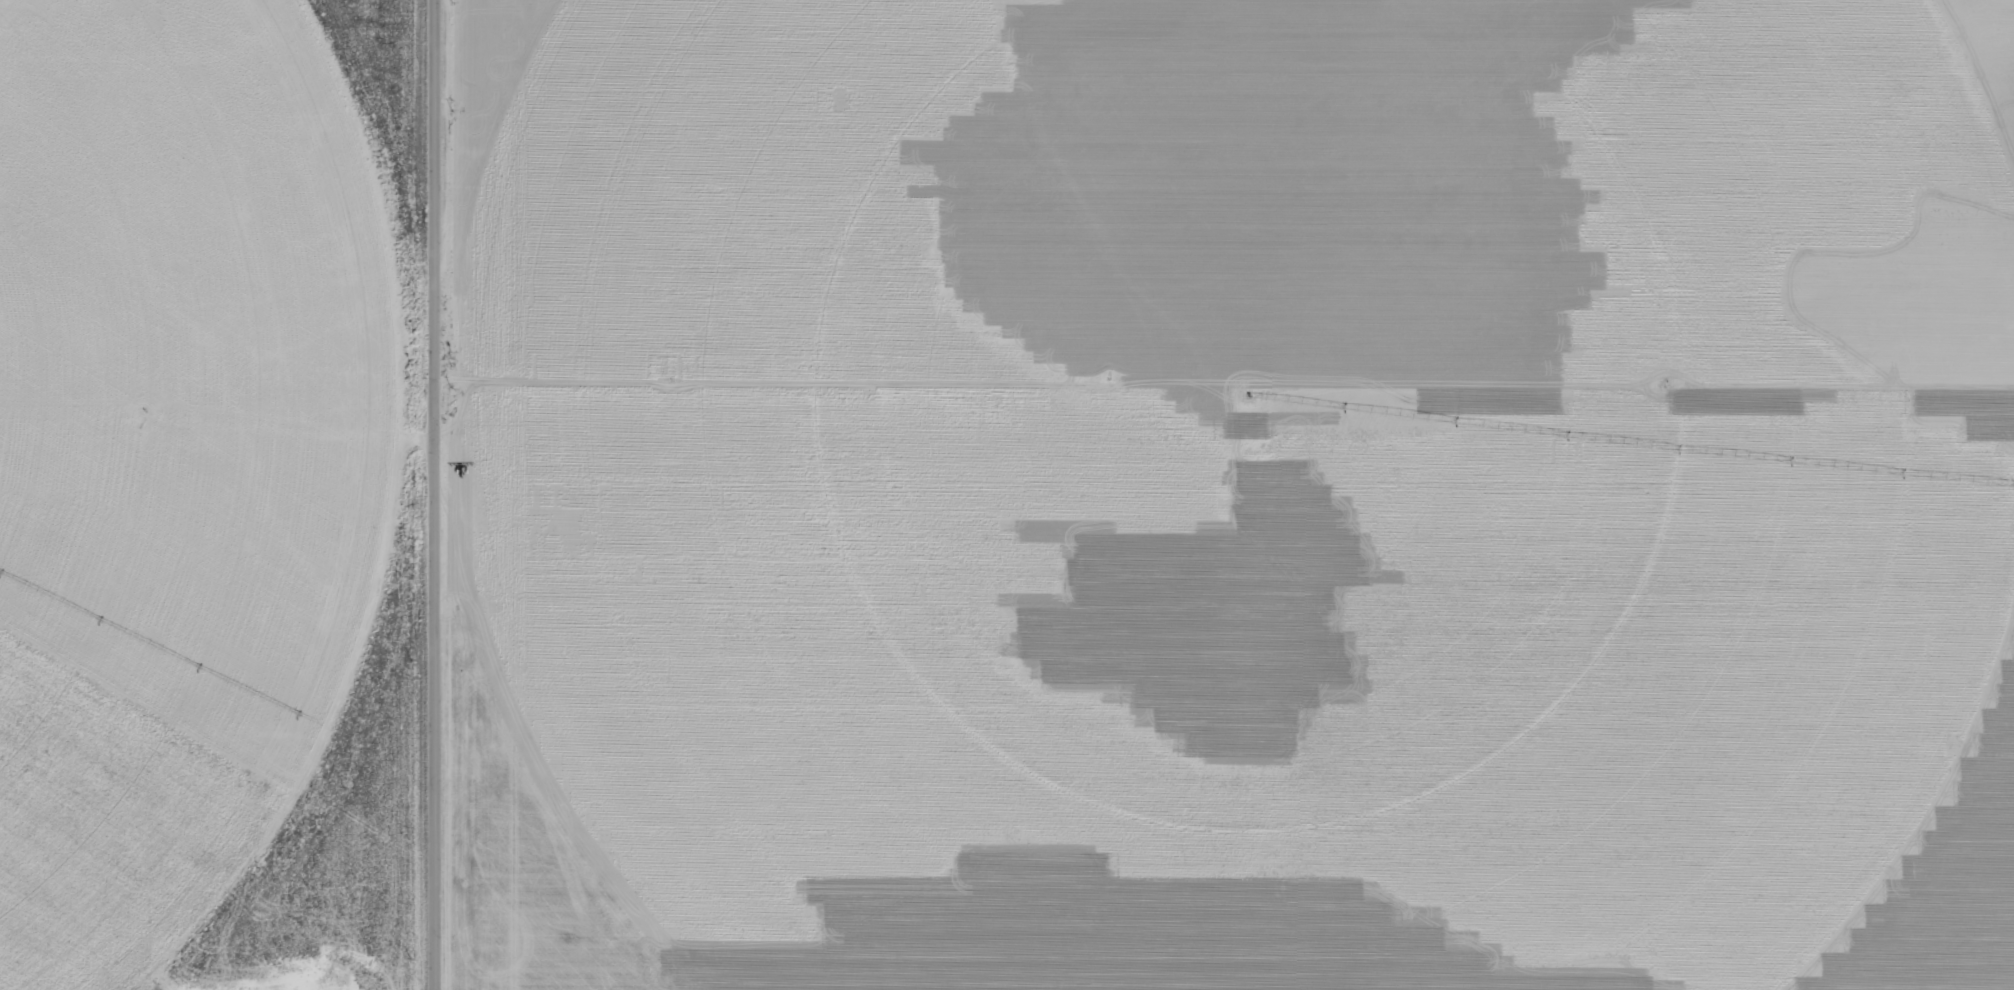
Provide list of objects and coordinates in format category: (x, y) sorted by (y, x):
road: (432, 495)

